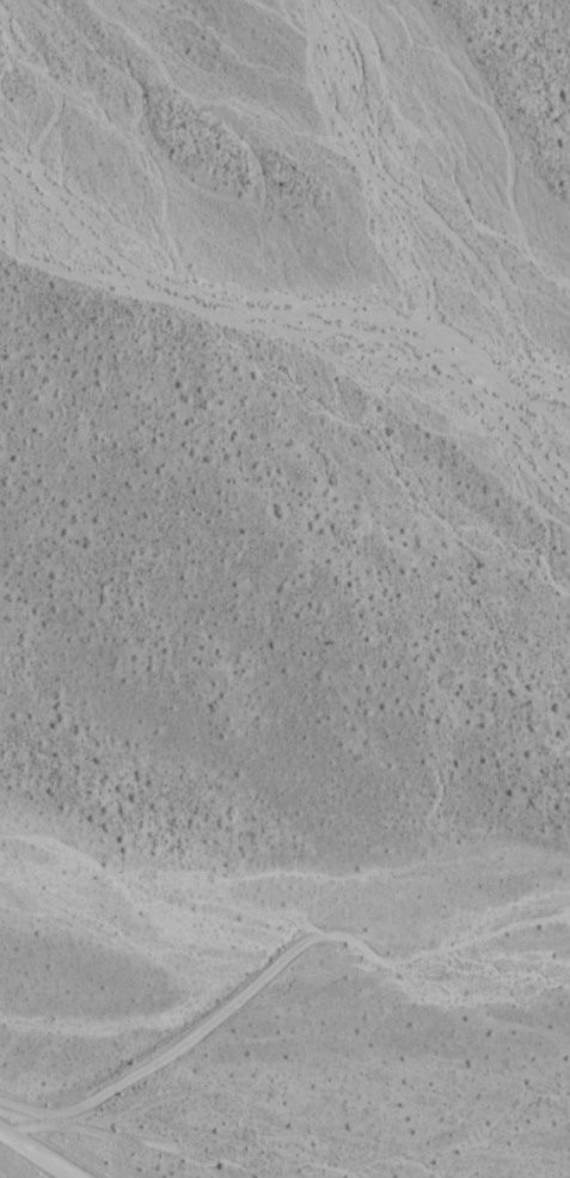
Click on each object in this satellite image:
road: (38, 1150)

